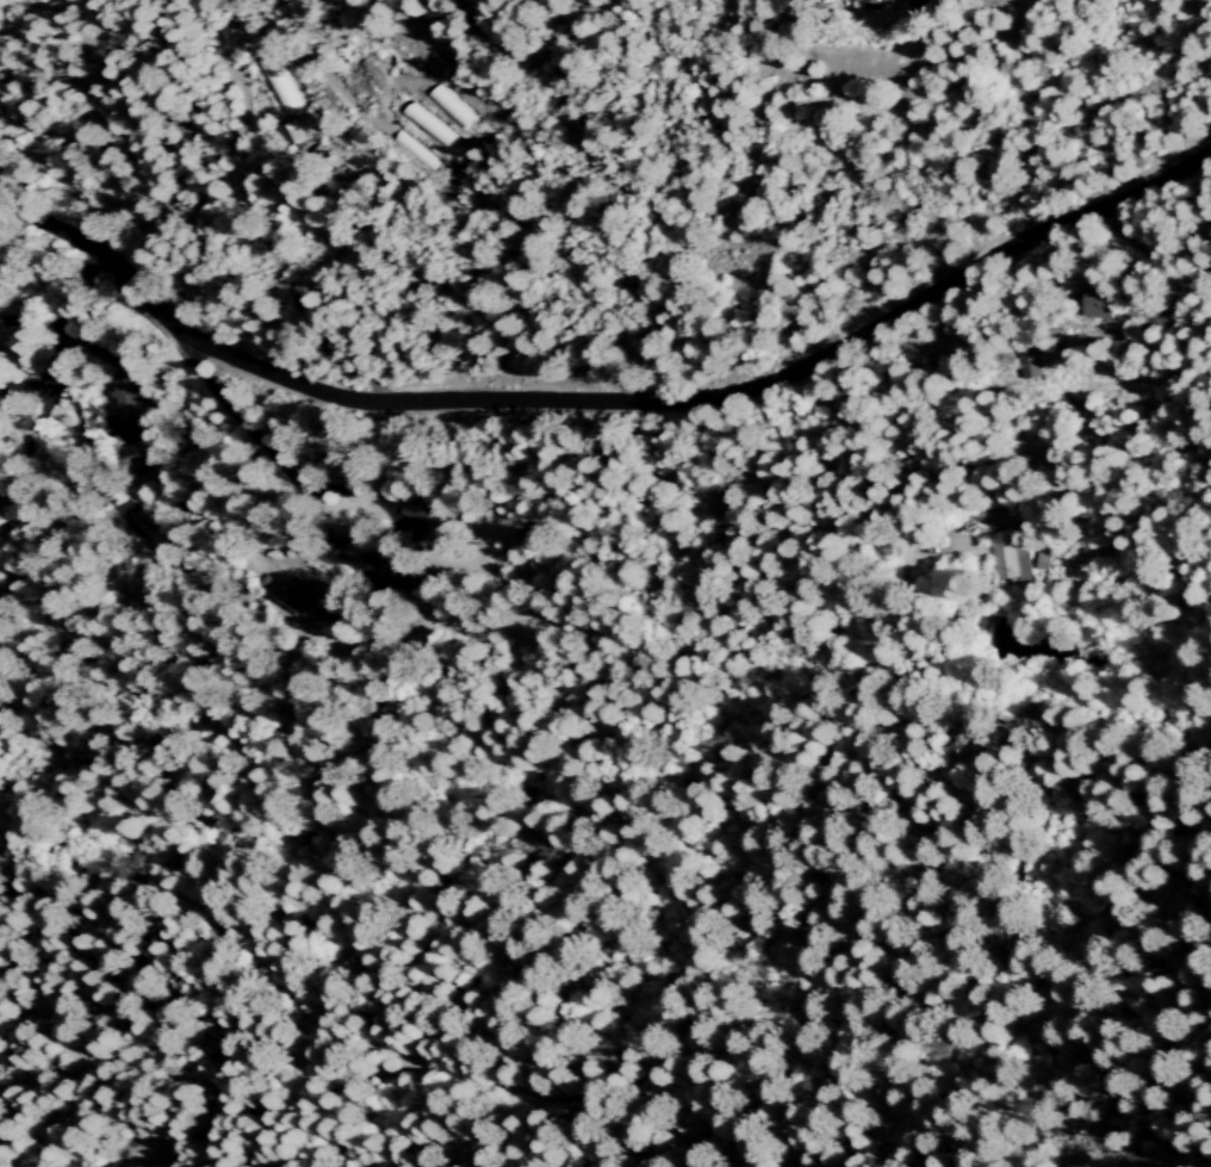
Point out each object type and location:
building: (881, 2)
road: (609, 403)
building: (1007, 555)

